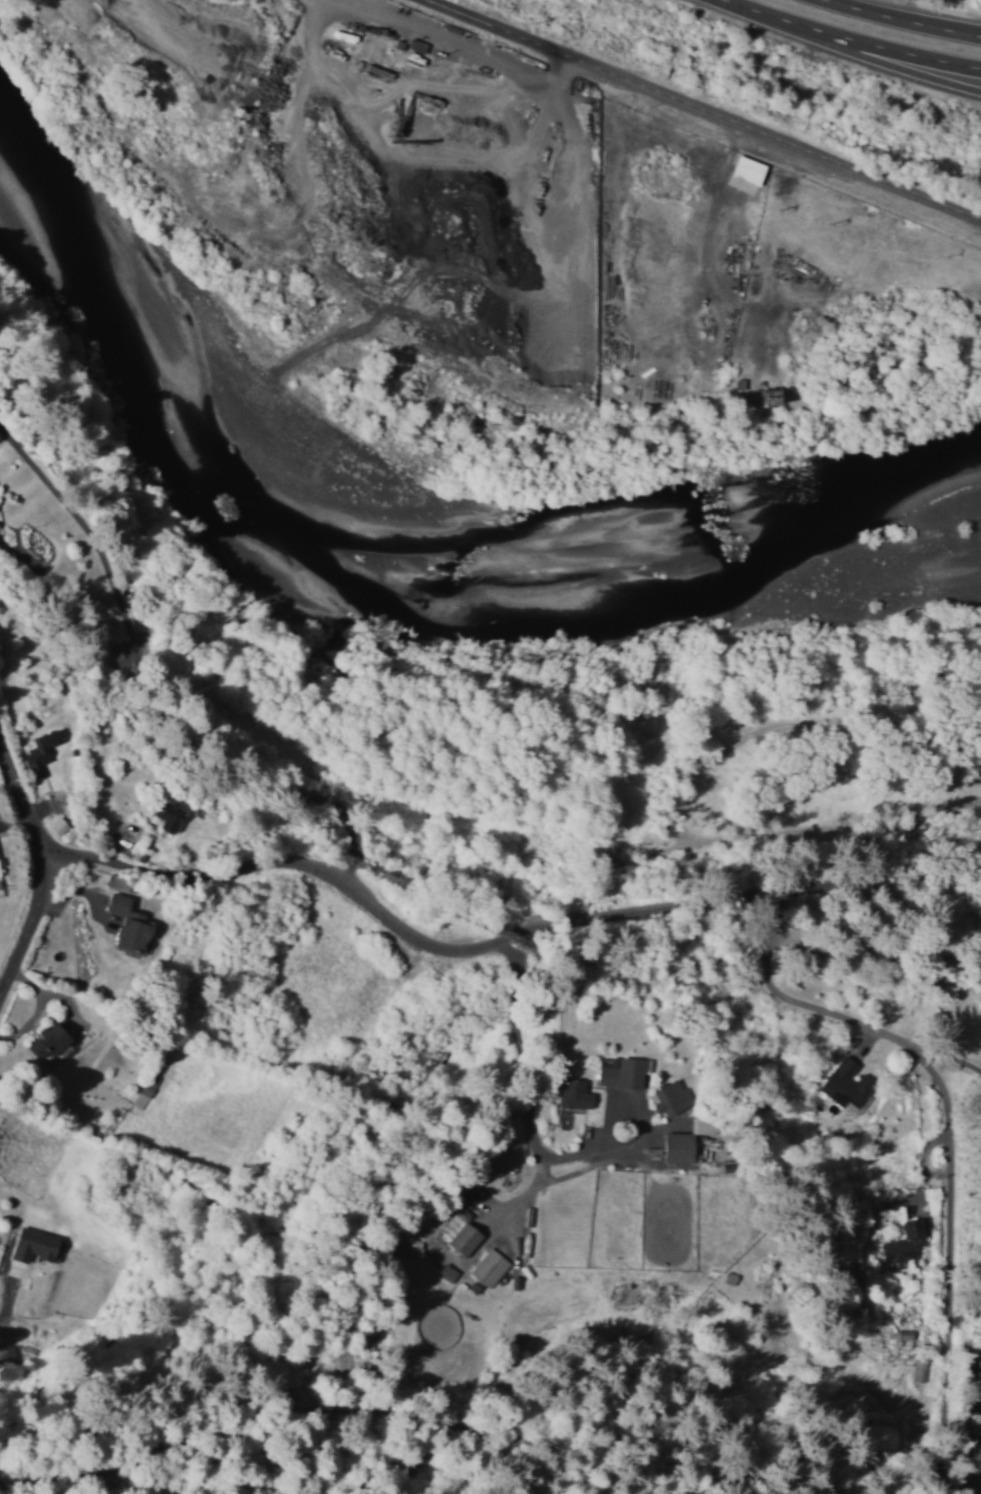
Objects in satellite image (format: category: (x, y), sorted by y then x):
road: (901, 19)
road: (848, 38)
road: (858, 54)
road: (705, 110)
river: (134, 376)
river: (648, 612)
building: (169, 815)
building: (57, 825)
road: (38, 865)
building: (0, 874)
railway: (446, 880)
building: (118, 882)
building: (129, 923)
road: (493, 940)
building: (49, 1040)
building: (622, 1073)
building: (847, 1085)
building: (143, 1091)
building: (573, 1097)
building: (671, 1097)
road: (946, 1138)
building: (686, 1140)
building: (464, 1238)
building: (905, 1241)
building: (34, 1245)
road: (965, 1252)
building: (488, 1268)
building: (446, 1272)
building: (473, 1287)

